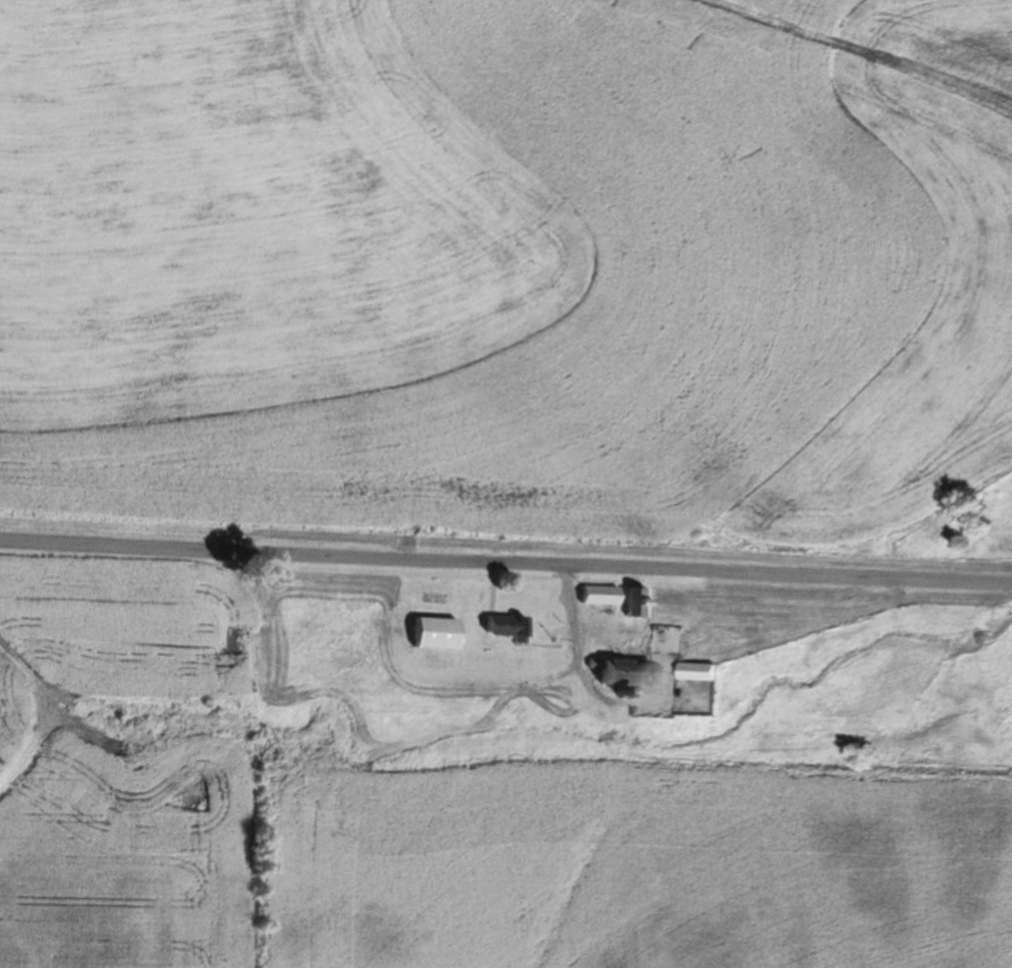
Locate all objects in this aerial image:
road: (505, 566)
building: (599, 593)
building: (671, 596)
building: (638, 600)
building: (506, 624)
building: (438, 631)
building: (669, 639)
building: (702, 670)
building: (626, 671)

